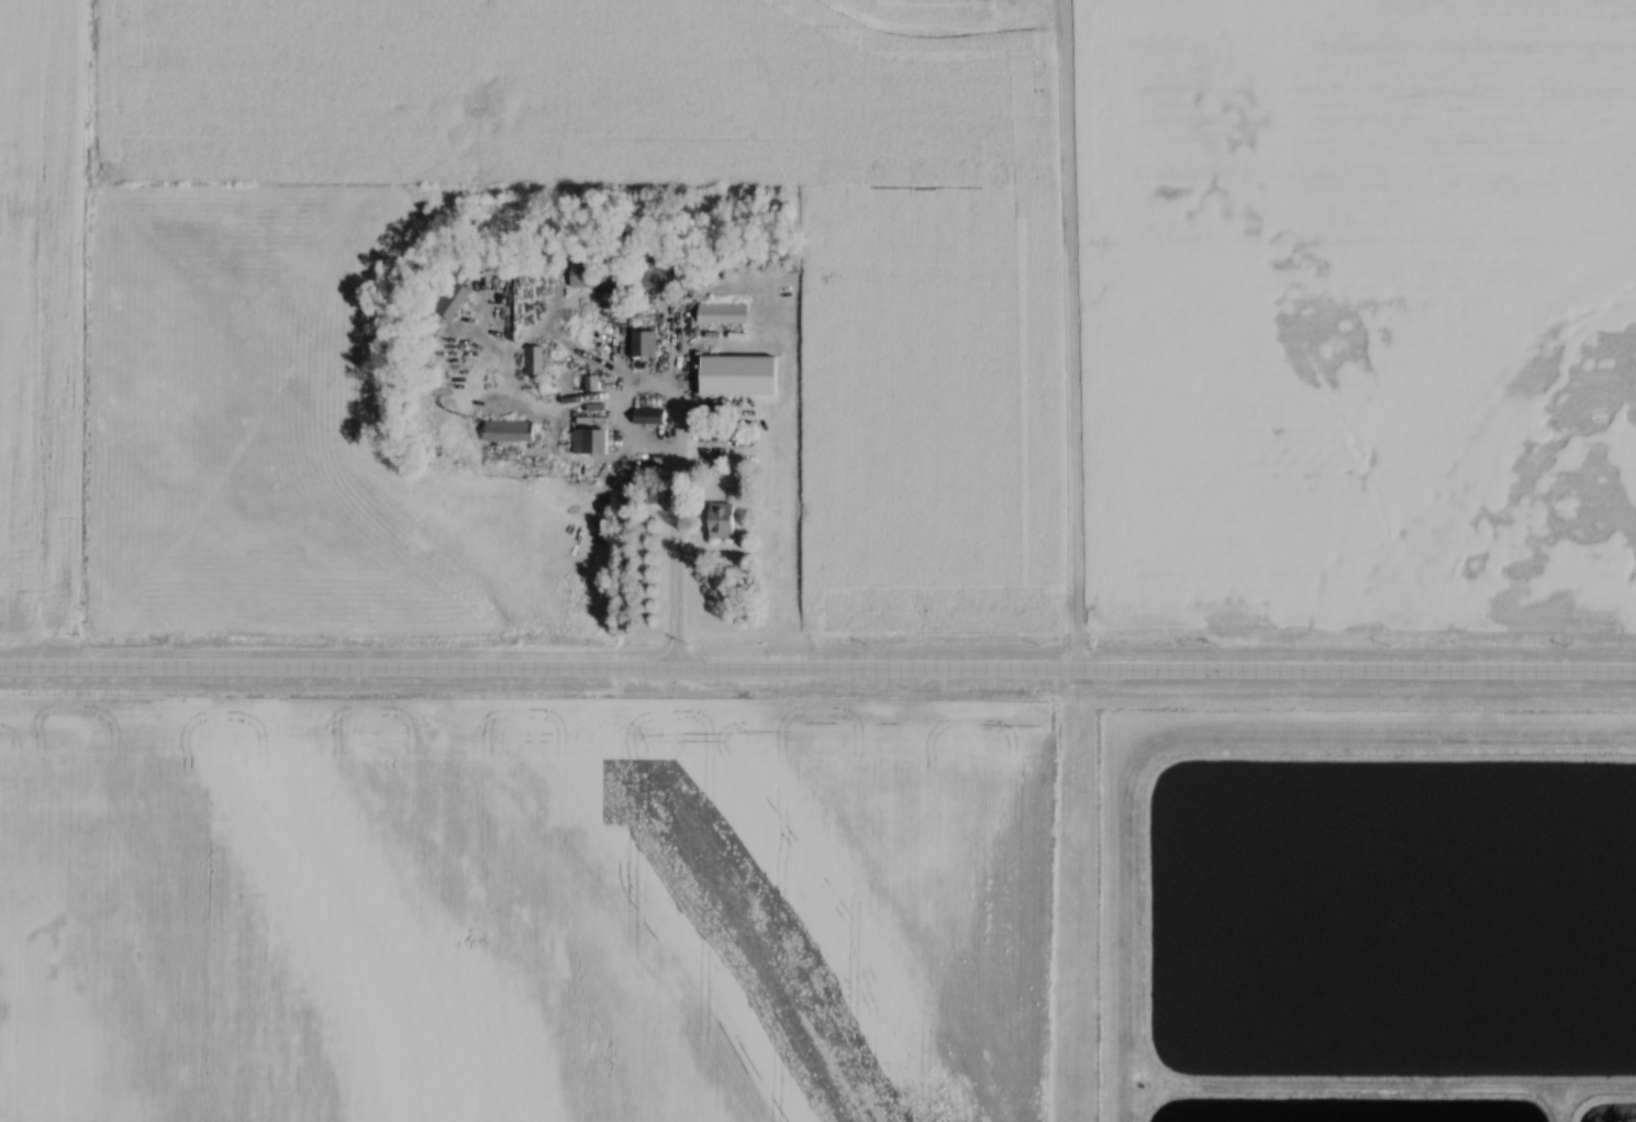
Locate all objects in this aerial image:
building: (597, 276)
building: (658, 276)
building: (456, 301)
building: (725, 314)
road: (1061, 335)
building: (646, 344)
building: (537, 360)
building: (744, 376)
road: (656, 387)
building: (652, 416)
building: (511, 431)
building: (593, 442)
building: (726, 521)
road: (679, 570)
road: (817, 670)

